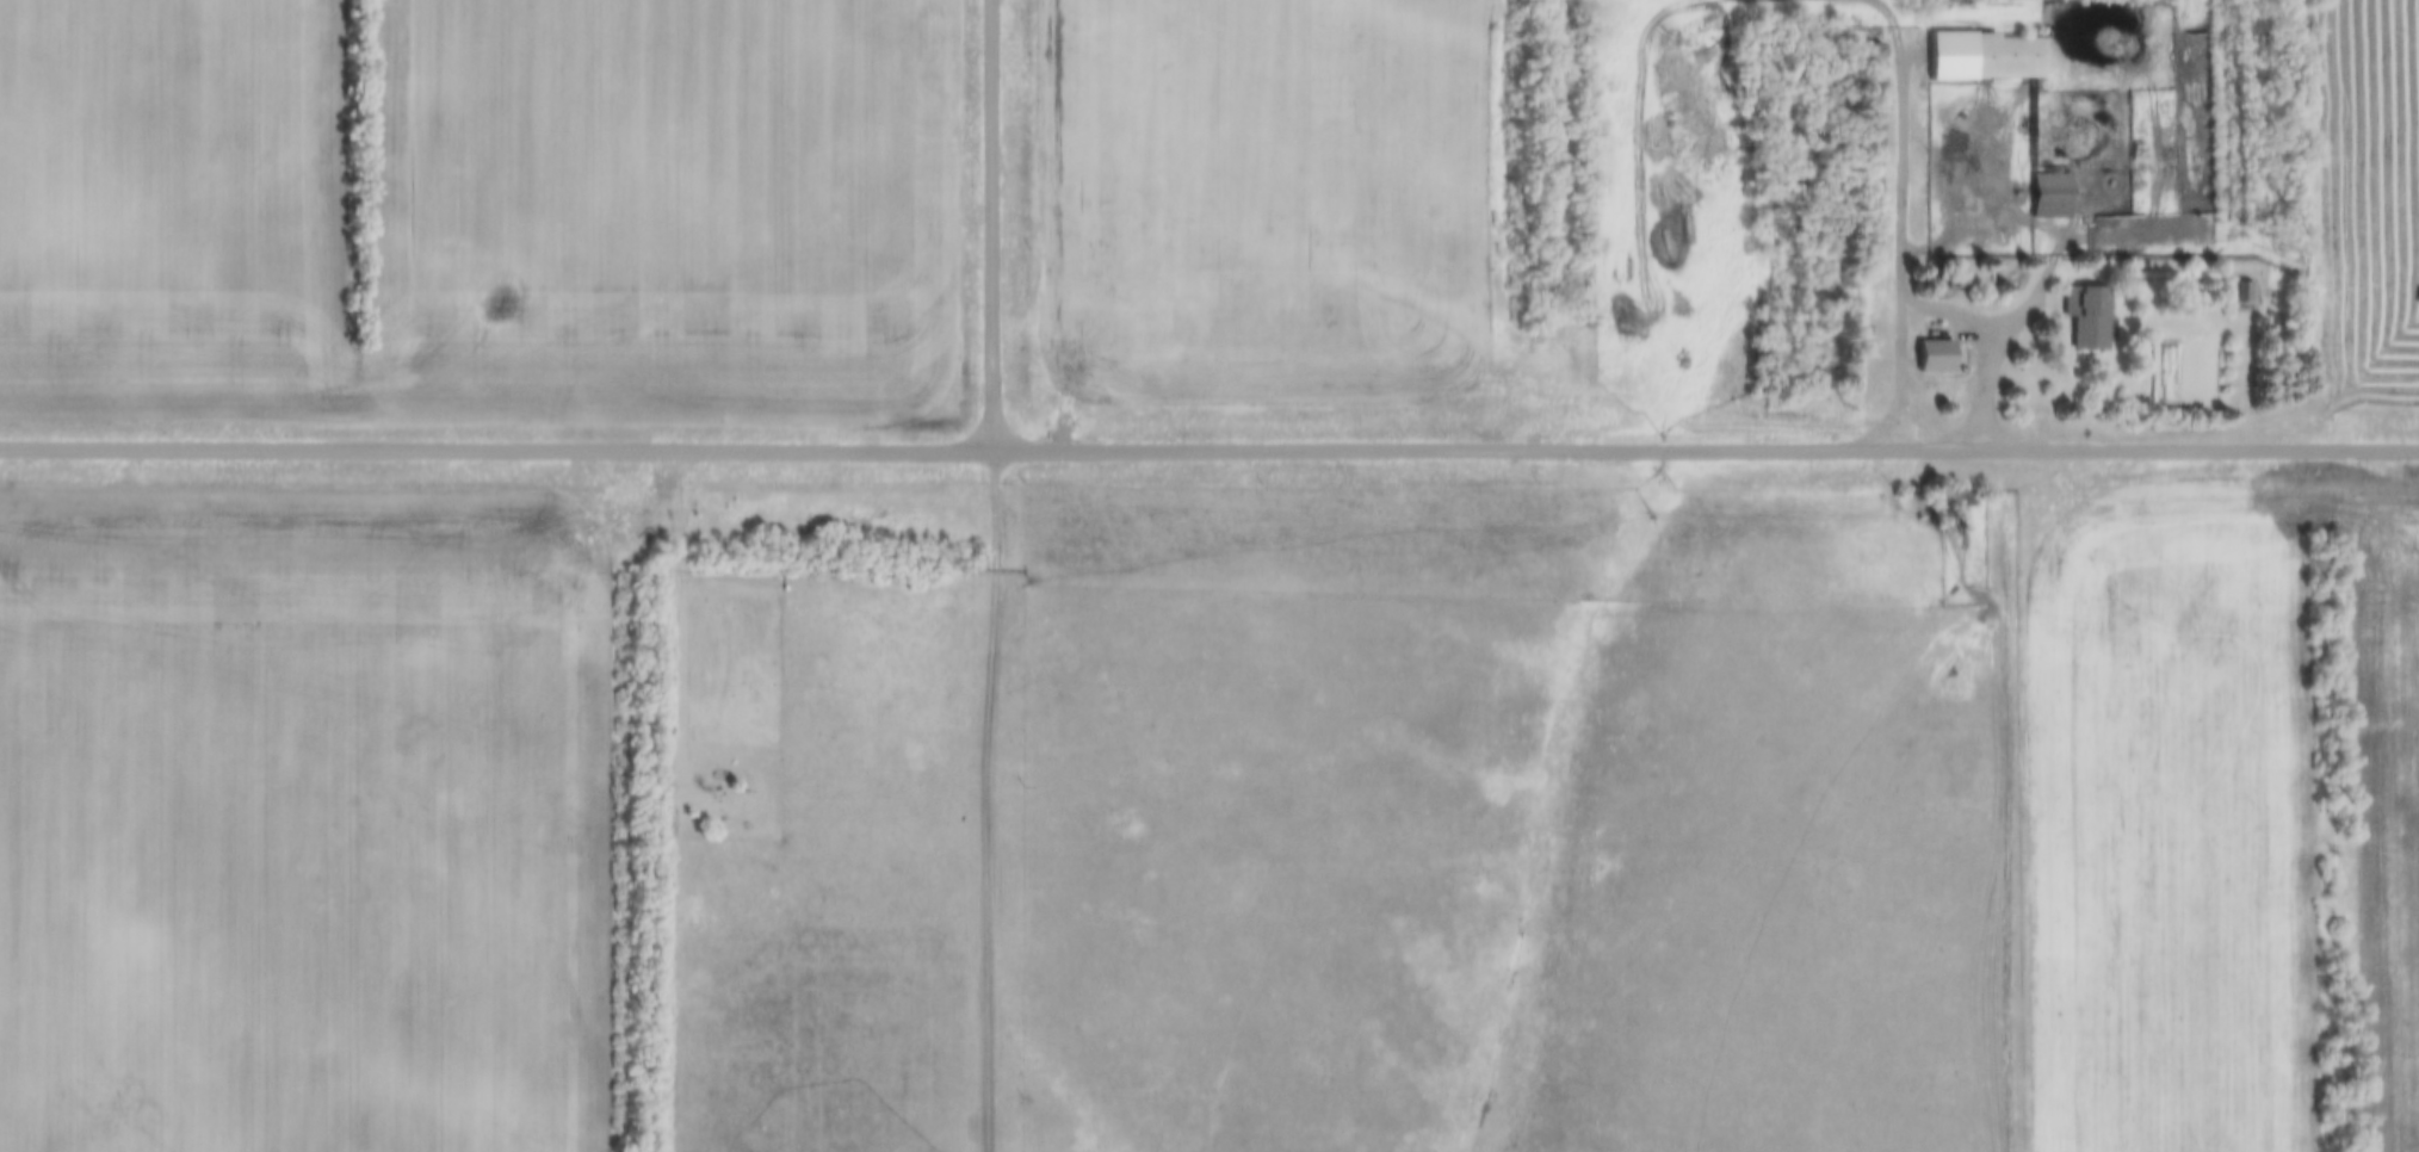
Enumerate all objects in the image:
building: (1982, 55)
road: (2195, 169)
building: (2047, 194)
road: (991, 224)
road: (1905, 261)
building: (2084, 315)
road: (2010, 330)
building: (1932, 353)
road: (495, 445)
road: (1705, 447)
road: (655, 500)
parking lot: (992, 507)
building: (646, 789)
road: (960, 798)
road: (985, 798)
road: (840, 1090)

